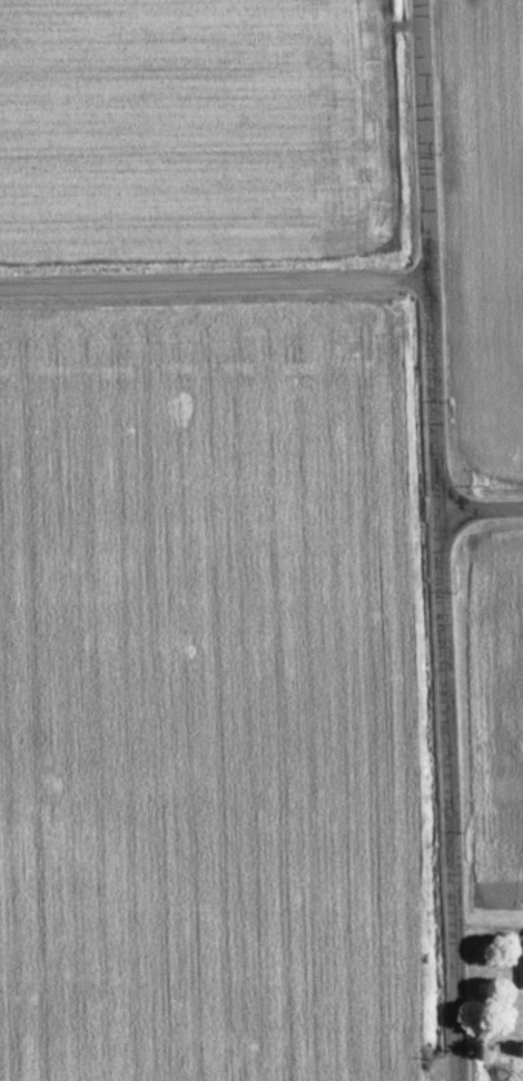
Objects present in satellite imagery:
road: (208, 280)
road: (476, 506)
road: (430, 539)
crop: (197, 751)
building: (520, 970)

